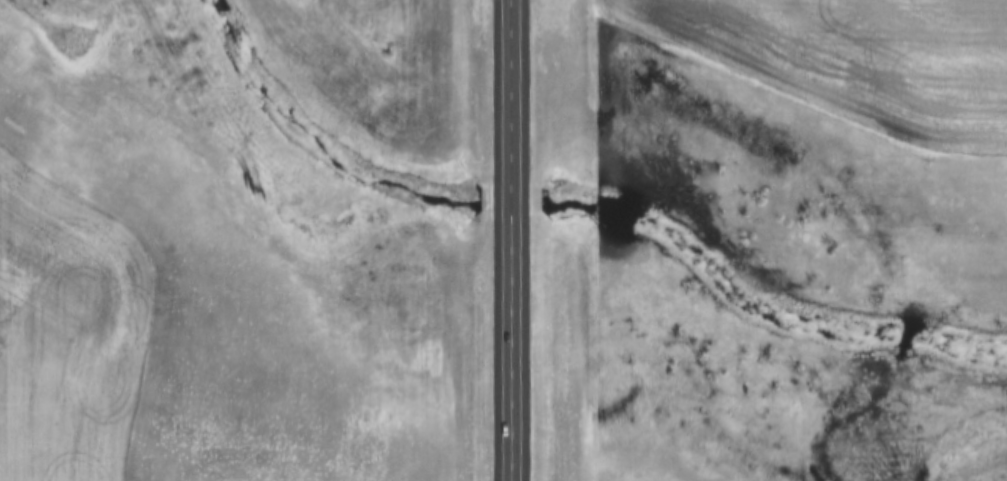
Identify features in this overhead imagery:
road: (513, 240)

